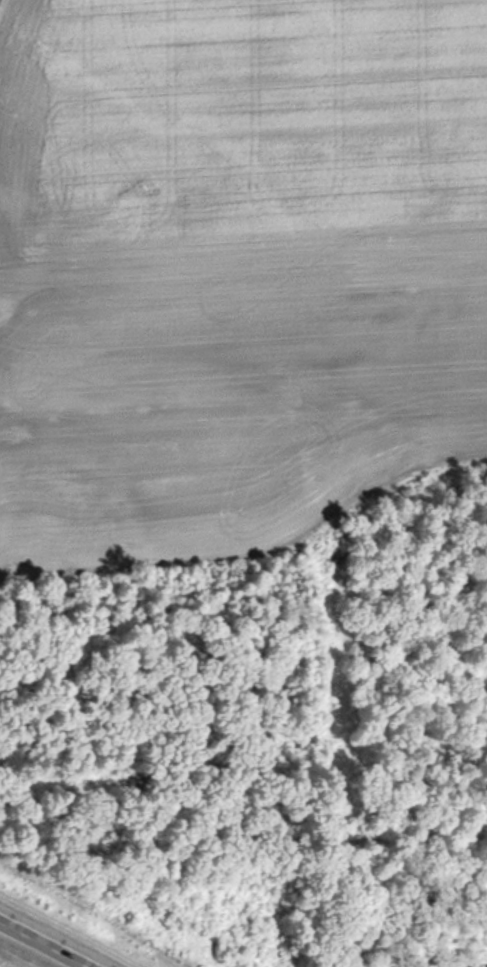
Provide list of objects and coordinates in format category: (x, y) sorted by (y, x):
road: (40, 946)

